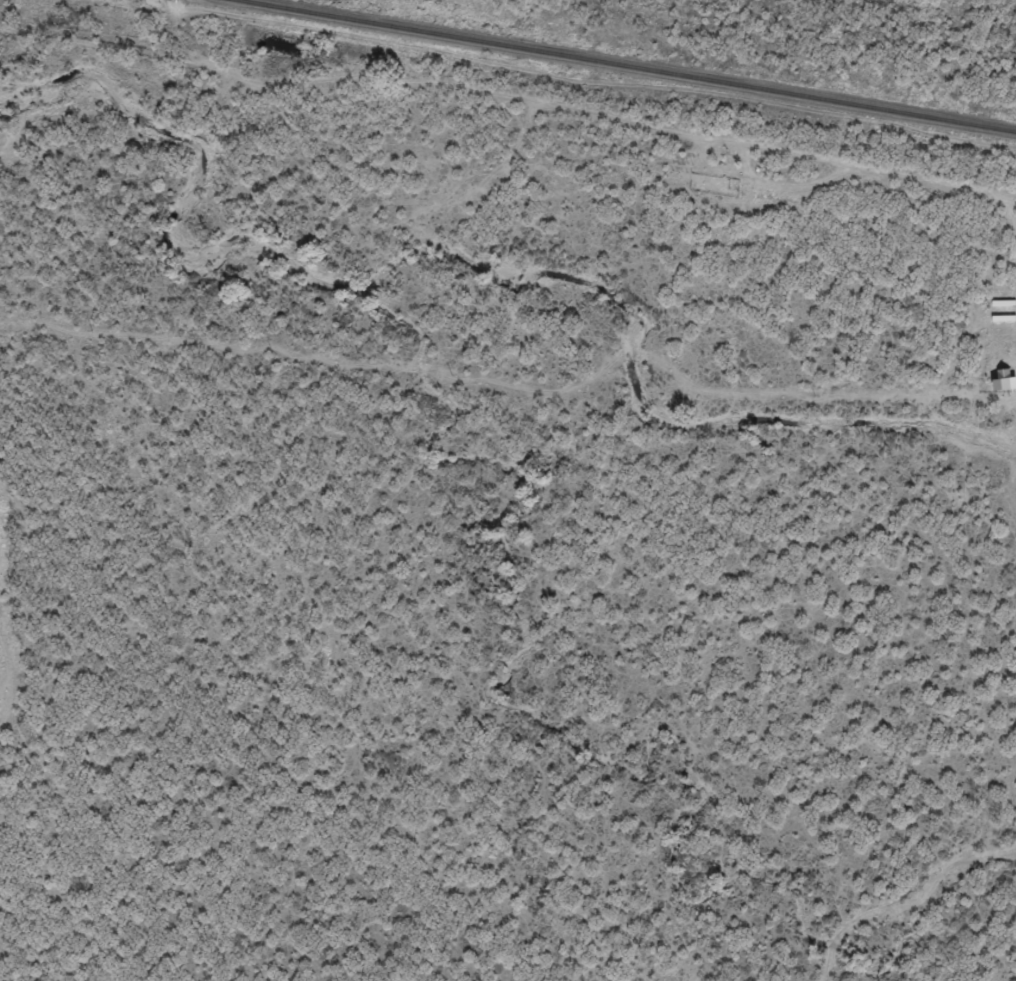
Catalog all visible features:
railway: (629, 65)
road: (508, 106)
road: (12, 254)
road: (11, 577)
road: (1005, 737)

